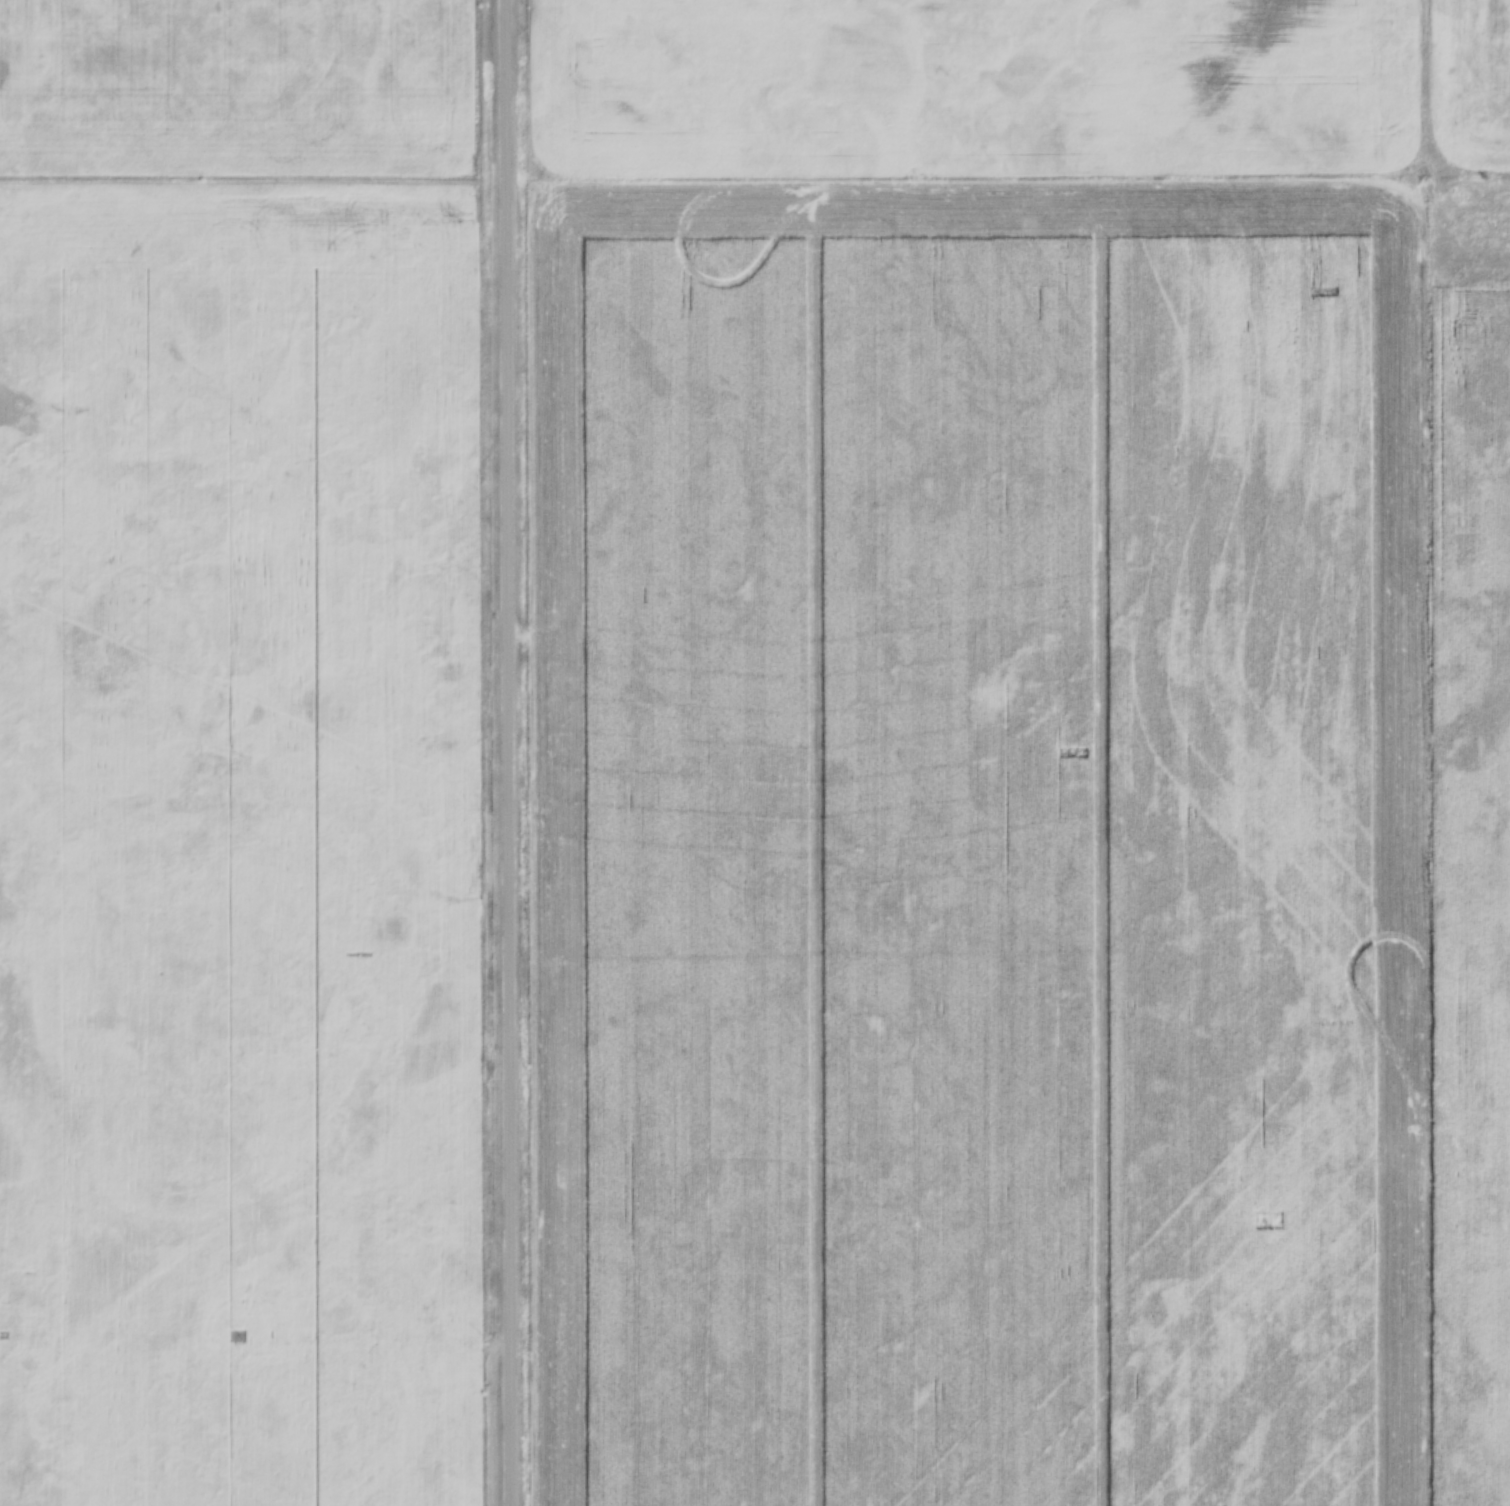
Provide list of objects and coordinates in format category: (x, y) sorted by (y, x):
road: (507, 752)

